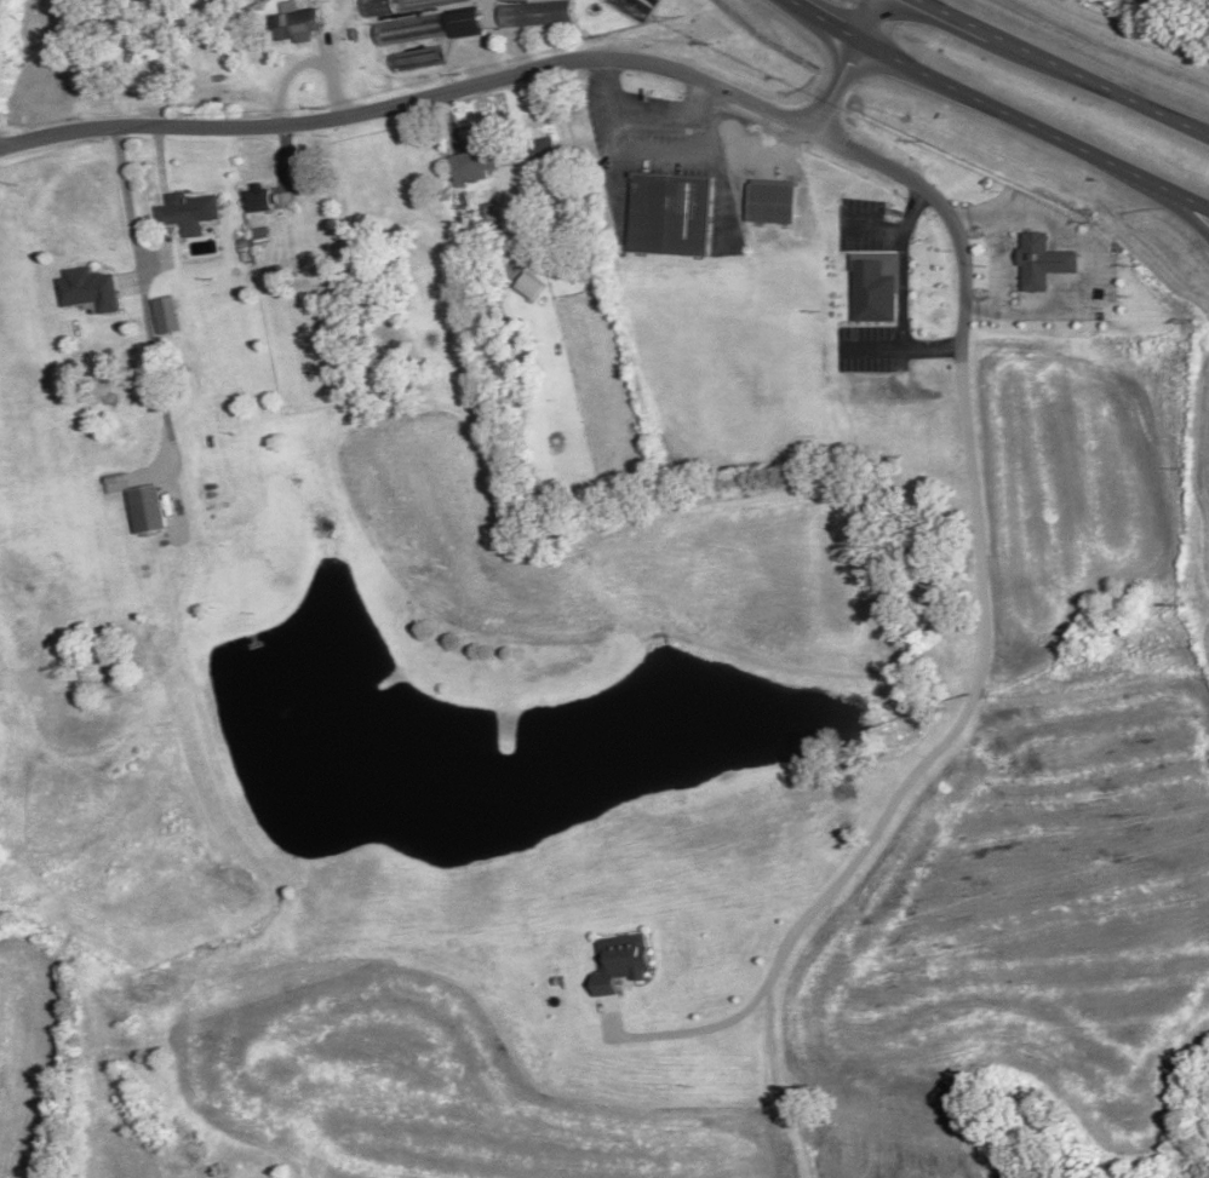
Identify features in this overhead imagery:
building: (534, 13)
road: (955, 17)
road: (823, 19)
building: (298, 25)
building: (430, 28)
road: (842, 61)
road: (1099, 85)
road: (409, 99)
road: (1031, 123)
road: (1199, 130)
building: (544, 153)
building: (477, 160)
building: (268, 201)
building: (772, 205)
road: (1178, 206)
building: (189, 213)
building: (671, 216)
building: (1031, 255)
building: (90, 289)
road: (798, 299)
building: (165, 316)
building: (145, 510)
building: (621, 962)

